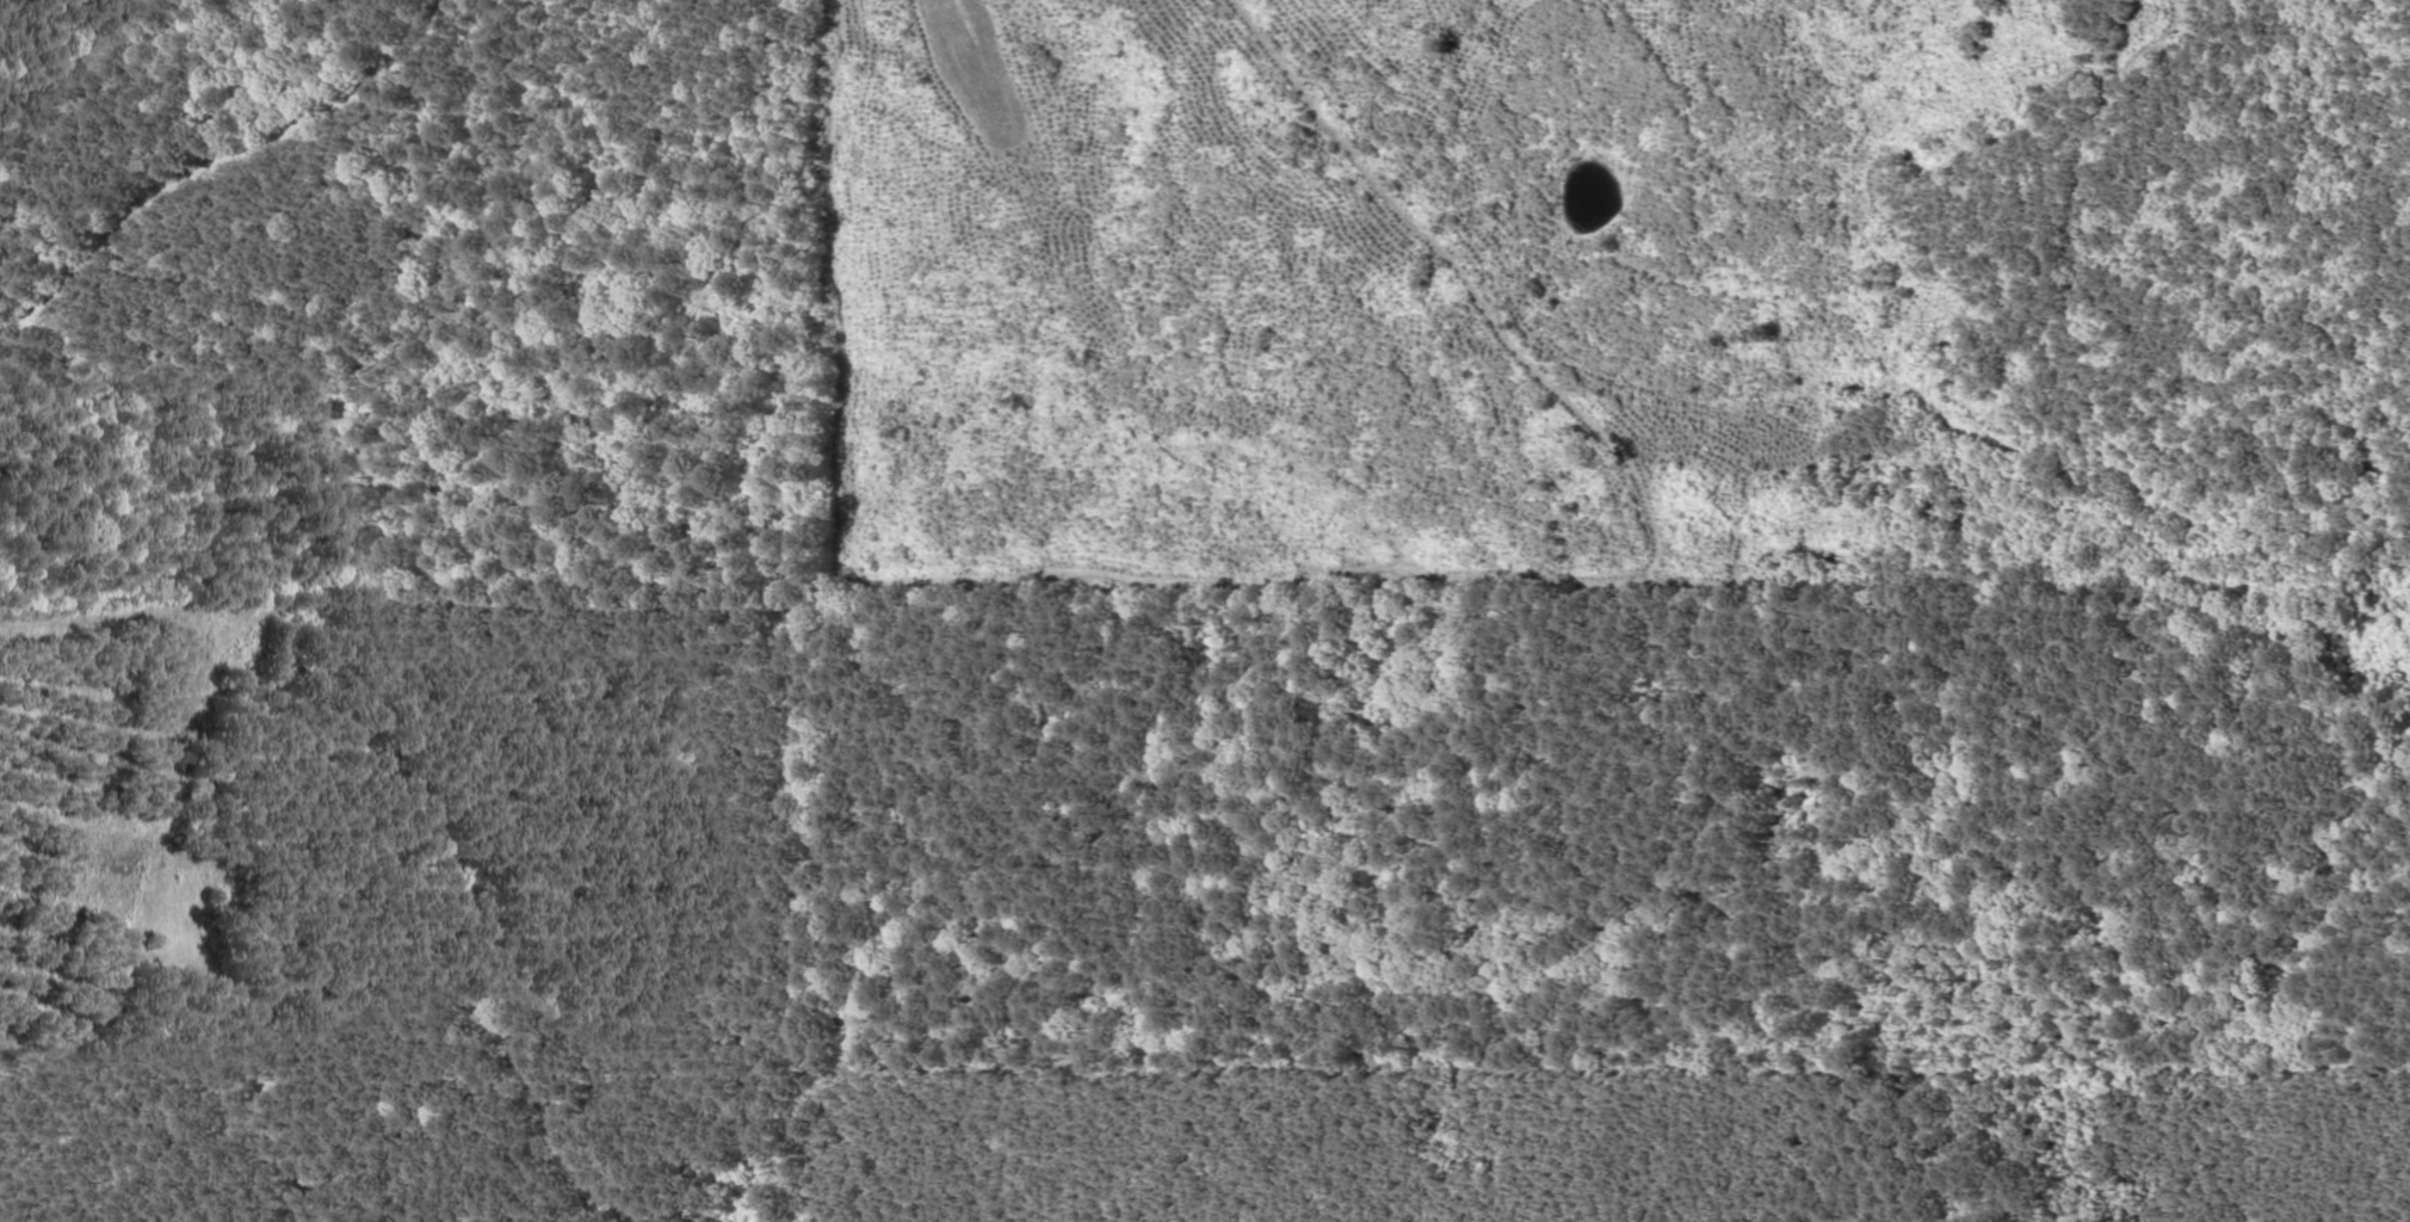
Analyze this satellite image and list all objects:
road: (222, 173)
road: (1656, 535)

